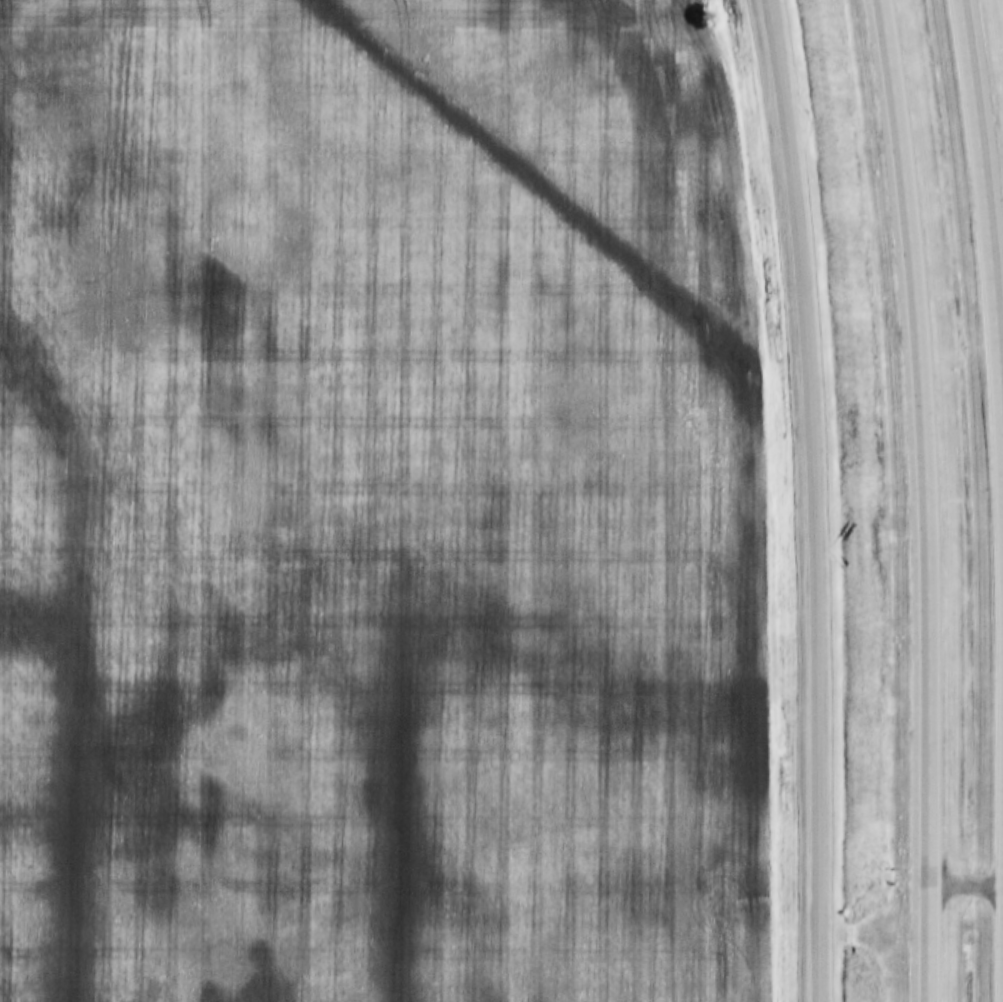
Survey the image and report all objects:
road: (987, 234)
road: (809, 499)
road: (923, 499)
crop: (378, 505)

